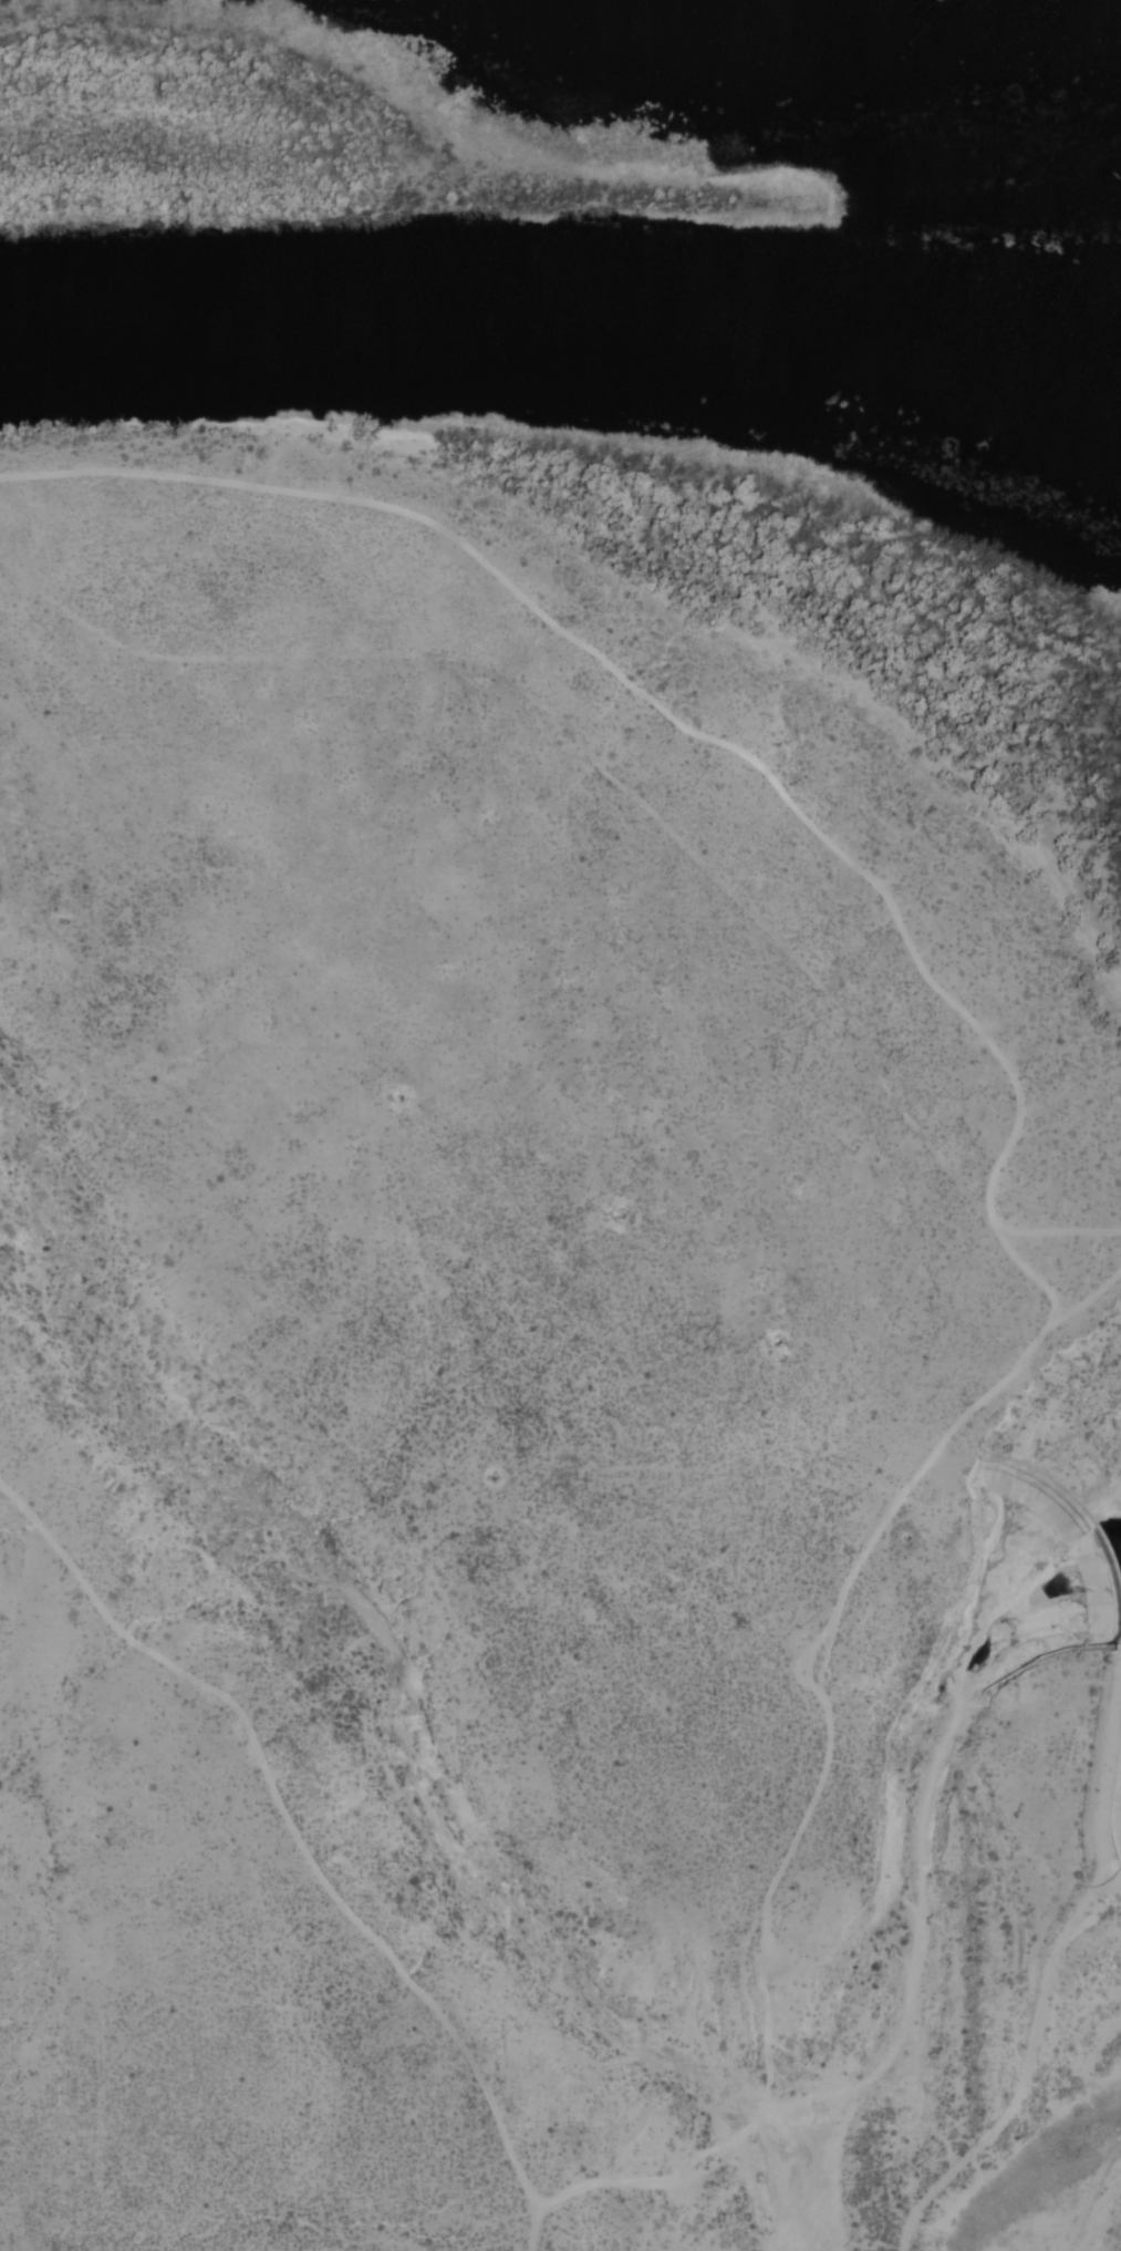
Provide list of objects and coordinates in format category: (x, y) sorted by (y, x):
river: (560, 327)
dam: (1071, 1494)
dam: (1118, 1818)

